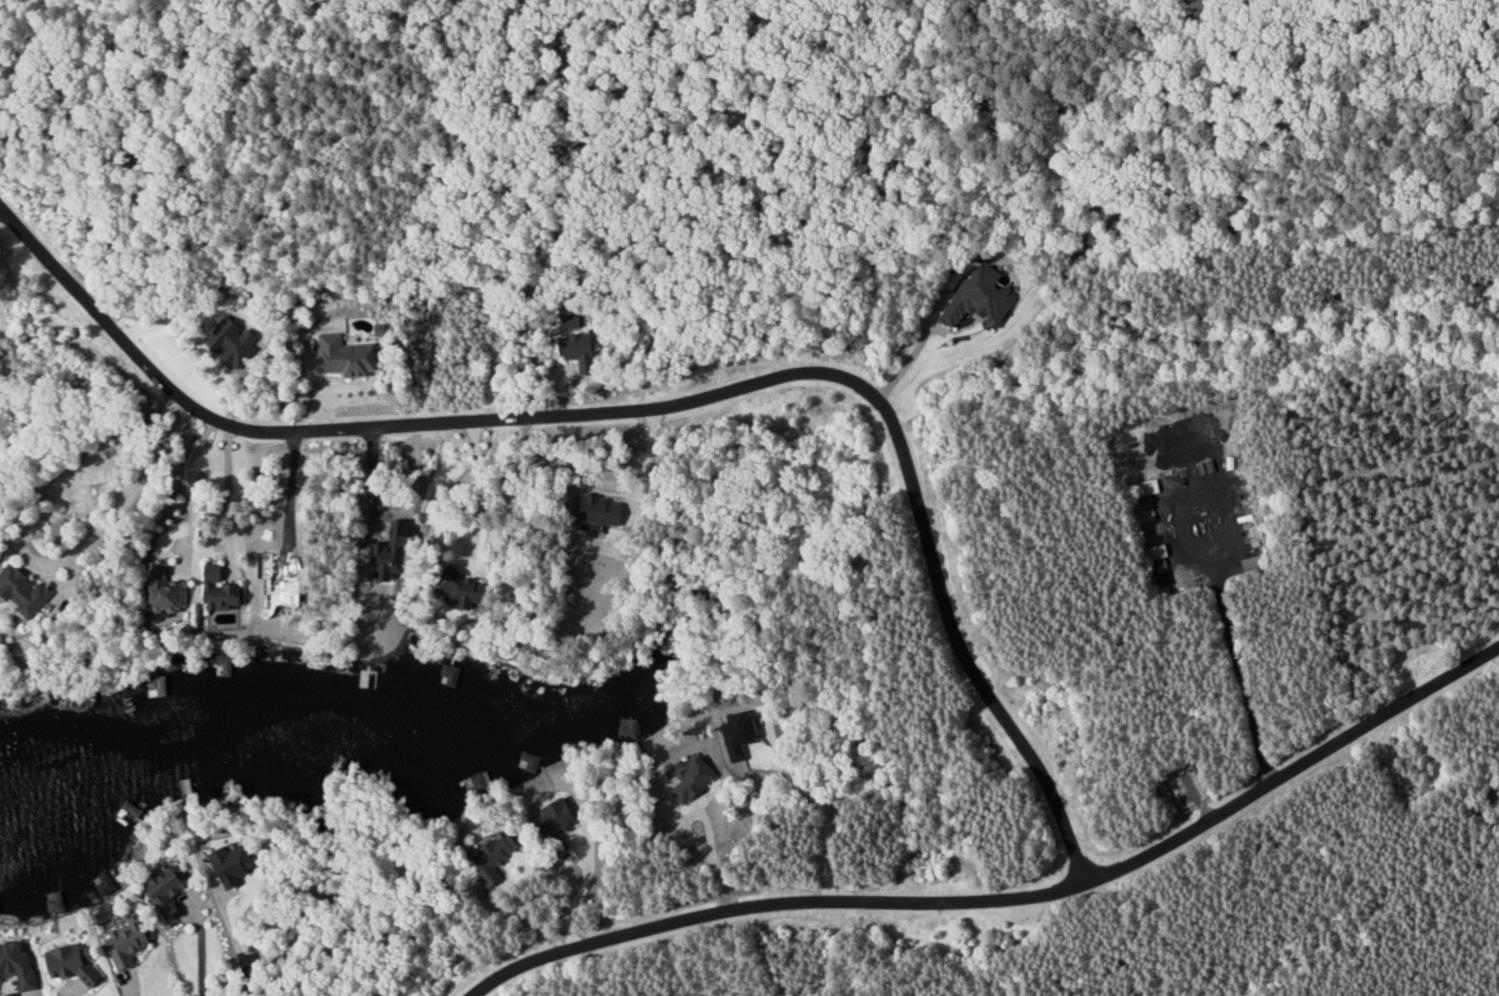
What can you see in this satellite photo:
road: (0, 206)
building: (981, 298)
building: (234, 342)
building: (579, 346)
building: (348, 356)
road: (665, 407)
building: (1146, 487)
road: (130, 499)
building: (1146, 508)
building: (605, 510)
building: (1152, 552)
building: (1156, 565)
building: (24, 590)
building: (222, 590)
building: (470, 590)
building: (168, 592)
building: (451, 675)
building: (163, 685)
building: (742, 734)
building: (529, 763)
building: (694, 782)
building: (559, 817)
road: (707, 826)
building: (497, 857)
building: (235, 864)
building: (104, 883)
road: (582, 889)
building: (169, 892)
road: (1010, 900)
building: (57, 901)
building: (0, 913)
road: (517, 917)
building: (128, 943)
building: (70, 964)
building: (18, 966)
road: (127, 985)
road: (13, 990)

